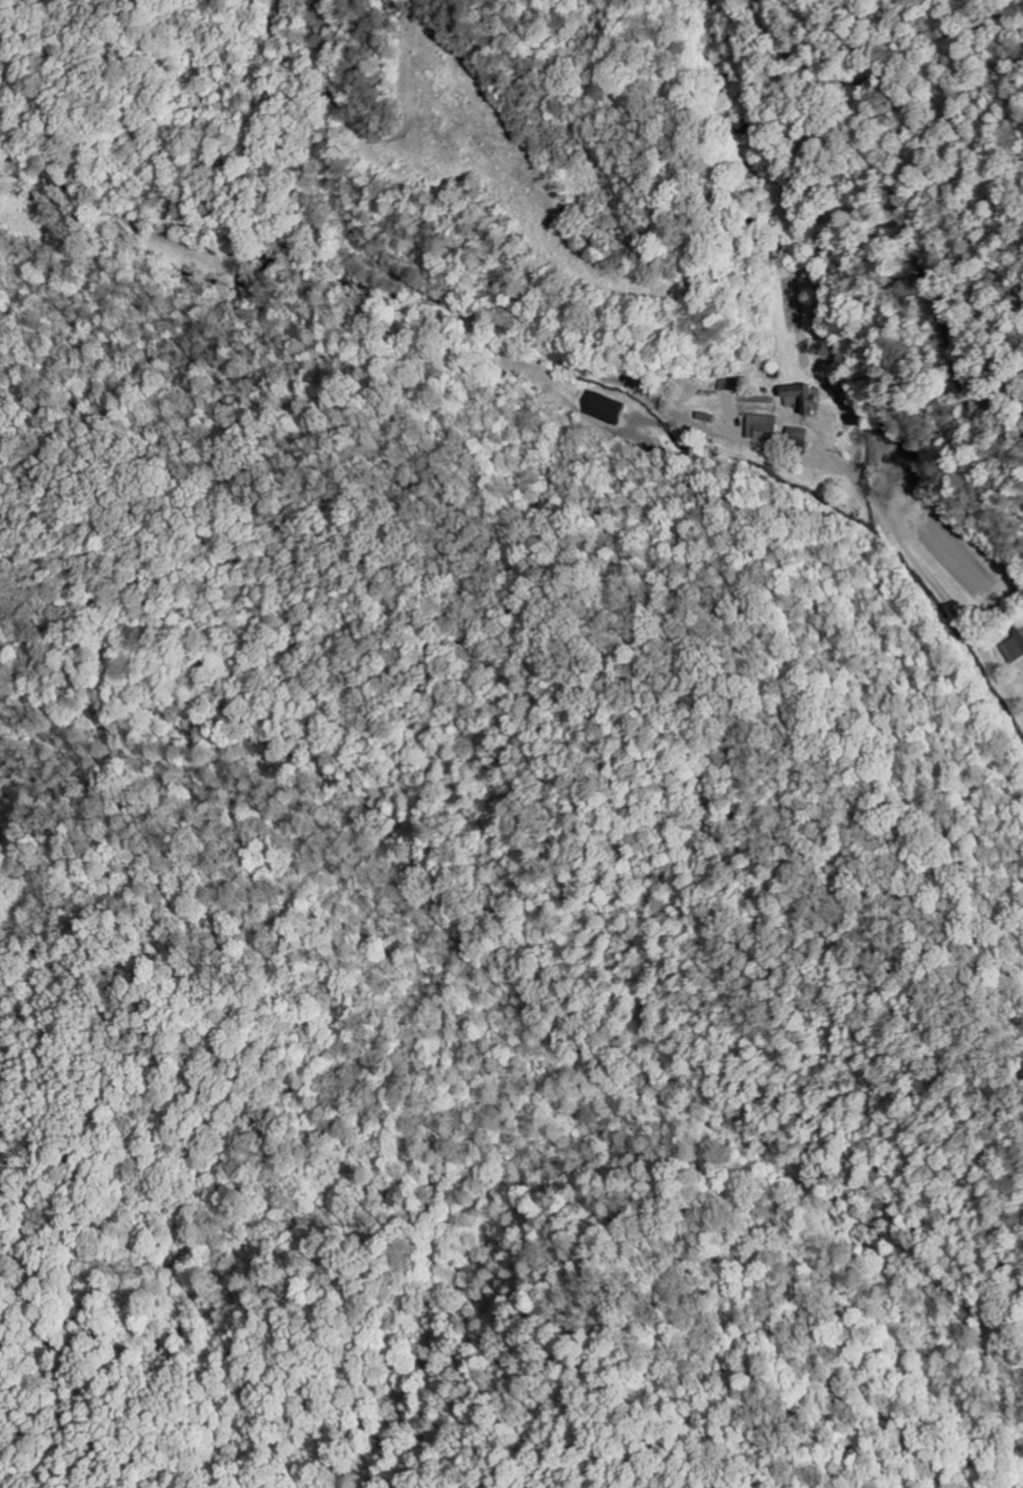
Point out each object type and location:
road: (765, 137)
building: (727, 384)
building: (803, 397)
building: (603, 408)
building: (798, 433)
road: (881, 506)
building: (1014, 646)

